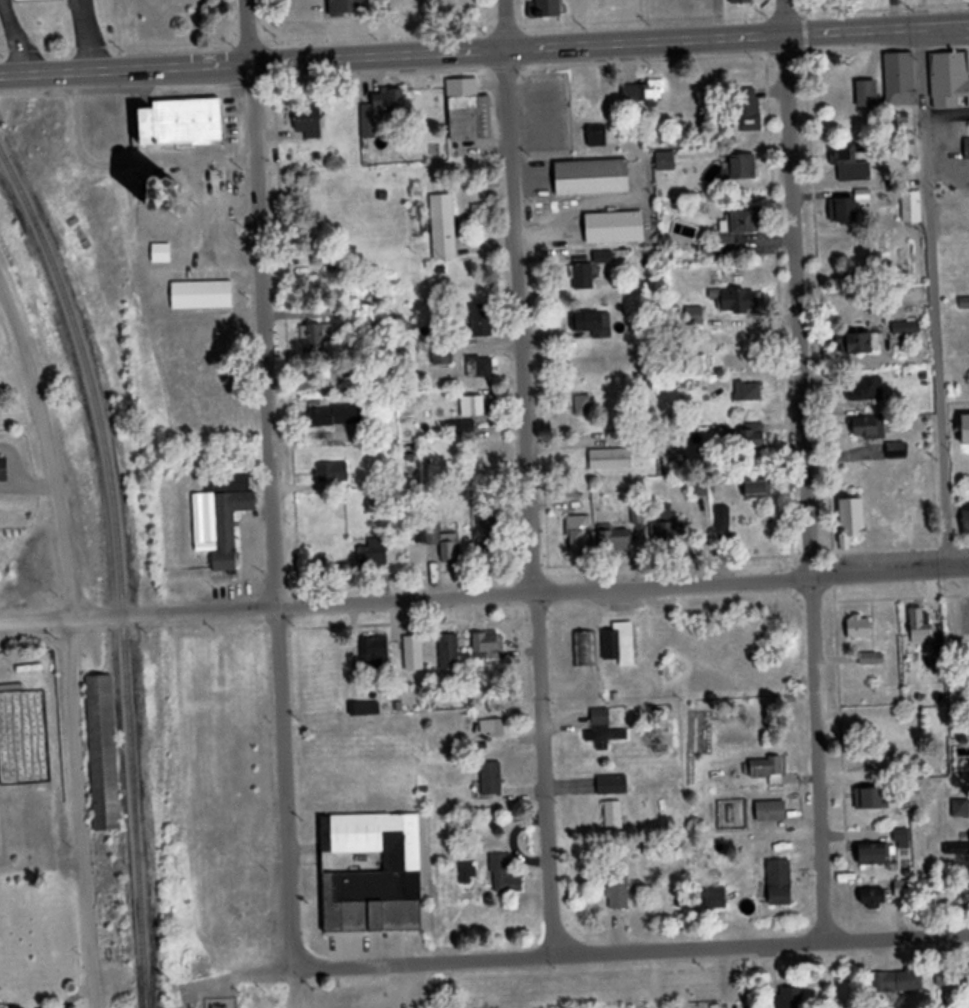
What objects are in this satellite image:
building: (741, 2)
building: (348, 8)
building: (546, 10)
road: (785, 19)
road: (506, 24)
road: (484, 49)
building: (900, 80)
building: (950, 81)
building: (644, 93)
building: (867, 95)
building: (381, 110)
building: (749, 110)
building: (469, 113)
building: (308, 122)
building: (182, 123)
building: (898, 123)
building: (597, 137)
building: (967, 150)
building: (850, 163)
building: (740, 169)
building: (592, 179)
building: (157, 195)
building: (911, 208)
building: (844, 211)
building: (743, 222)
building: (444, 228)
building: (615, 229)
building: (584, 277)
building: (202, 295)
building: (736, 301)
road: (800, 308)
building: (694, 317)
building: (482, 322)
building: (594, 325)
building: (907, 329)
building: (319, 338)
building: (860, 345)
building: (442, 357)
building: (480, 369)
building: (865, 390)
building: (748, 392)
building: (583, 405)
building: (473, 408)
building: (336, 416)
building: (459, 429)
building: (869, 429)
building: (966, 432)
building: (754, 439)
building: (897, 452)
building: (610, 460)
building: (4, 471)
building: (334, 474)
road: (272, 485)
building: (755, 489)
road: (531, 503)
building: (966, 515)
building: (852, 518)
building: (220, 525)
building: (666, 525)
building: (492, 534)
building: (580, 536)
building: (615, 542)
building: (441, 543)
building: (374, 554)
railway: (121, 567)
road: (521, 595)
road: (37, 620)
building: (920, 627)
building: (859, 629)
road: (74, 638)
building: (618, 646)
building: (488, 647)
building: (585, 650)
building: (450, 652)
building: (374, 653)
building: (414, 654)
building: (872, 660)
road: (839, 661)
building: (365, 710)
building: (600, 726)
building: (498, 728)
building: (104, 754)
road: (820, 760)
building: (768, 769)
building: (491, 779)
building: (612, 784)
building: (871, 798)
building: (771, 811)
building: (614, 815)
building: (902, 839)
building: (956, 849)
building: (873, 854)
building: (374, 874)
building: (504, 876)
building: (780, 883)
building: (618, 889)
building: (904, 889)
building: (966, 898)
road: (595, 955)
building: (968, 975)
building: (945, 977)
building: (897, 982)
building: (789, 997)

